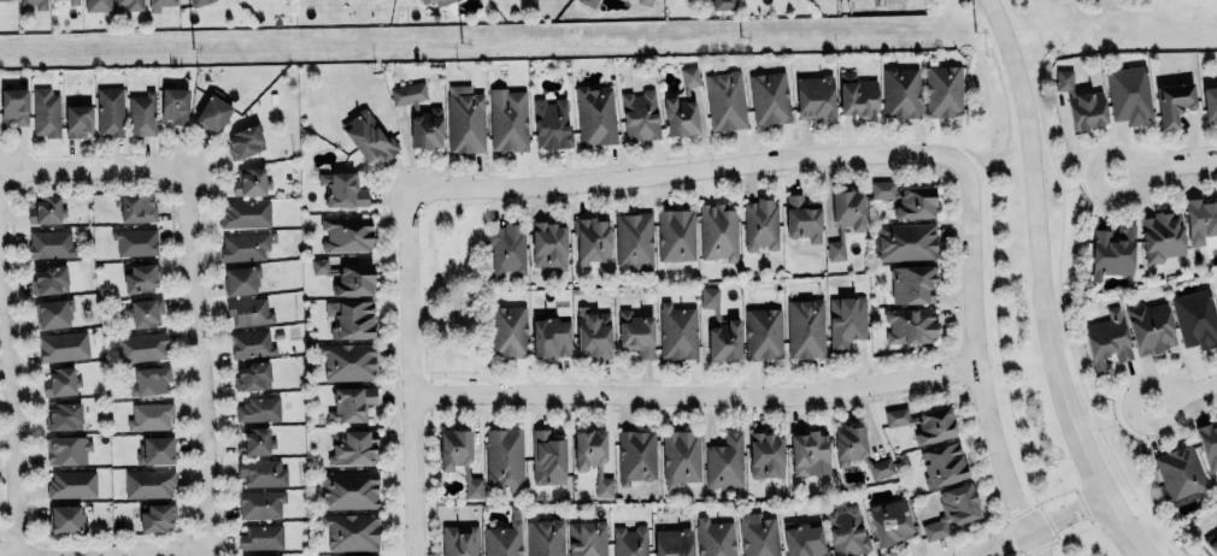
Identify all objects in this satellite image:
building: (7, 0)
building: (72, 1)
building: (196, 1)
building: (424, 1)
building: (440, 1)
building: (643, 1)
building: (36, 2)
building: (588, 2)
building: (131, 4)
building: (158, 4)
building: (723, 4)
building: (96, 5)
building: (943, 89)
building: (899, 90)
building: (407, 93)
building: (1129, 93)
building: (815, 95)
building: (857, 95)
building: (770, 96)
building: (725, 99)
building: (1081, 101)
building: (1172, 102)
building: (174, 103)
building: (1210, 103)
building: (13, 105)
building: (683, 105)
building: (43, 111)
building: (110, 111)
building: (141, 113)
building: (212, 113)
building: (640, 114)
building: (595, 116)
building: (465, 118)
building: (77, 119)
building: (507, 119)
building: (551, 123)
building: (427, 128)
building: (368, 136)
building: (245, 141)
road: (998, 152)
road: (1166, 166)
road: (93, 170)
road: (684, 173)
building: (249, 182)
road: (1074, 185)
building: (341, 188)
building: (906, 197)
building: (135, 207)
building: (46, 209)
building: (245, 213)
building: (802, 218)
building: (845, 218)
building: (1200, 219)
building: (760, 223)
building: (718, 231)
building: (346, 233)
building: (676, 233)
building: (1160, 236)
building: (592, 238)
building: (634, 239)
building: (135, 241)
building: (906, 241)
building: (51, 243)
building: (243, 246)
building: (548, 246)
building: (506, 248)
building: (1112, 250)
building: (141, 277)
building: (346, 277)
building: (48, 279)
building: (240, 279)
building: (910, 282)
road: (1037, 284)
building: (248, 310)
building: (53, 312)
building: (143, 312)
building: (349, 318)
building: (1194, 318)
building: (847, 320)
building: (910, 324)
building: (721, 327)
building: (804, 327)
building: (1150, 327)
building: (508, 331)
building: (677, 331)
building: (593, 332)
building: (635, 332)
building: (763, 333)
building: (551, 337)
building: (1106, 339)
building: (251, 343)
building: (63, 345)
building: (142, 345)
building: (347, 361)
road: (205, 362)
road: (980, 362)
road: (411, 373)
building: (251, 375)
building: (149, 380)
building: (60, 381)
road: (696, 392)
road: (1184, 394)
building: (351, 403)
building: (258, 409)
road: (16, 412)
building: (63, 415)
building: (149, 415)
building: (924, 422)
road: (1115, 424)
building: (254, 440)
building: (1207, 444)
building: (352, 446)
building: (66, 448)
building: (155, 450)
building: (858, 450)
building: (810, 453)
building: (636, 455)
building: (765, 455)
building: (681, 456)
building: (458, 457)
building: (504, 457)
building: (547, 457)
building: (593, 457)
building: (725, 461)
building: (941, 463)
building: (260, 472)
building: (1180, 472)
building: (148, 483)
building: (70, 484)
building: (349, 489)
building: (259, 502)
building: (952, 509)
building: (157, 516)
building: (66, 519)
building: (889, 521)
road: (1035, 527)
building: (845, 530)
building: (352, 531)
building: (758, 534)
building: (543, 536)
building: (260, 537)
building: (715, 537)
building: (588, 538)
building: (802, 538)
building: (502, 539)
building: (459, 540)
building: (630, 540)
building: (672, 543)
building: (1212, 545)
road: (4, 555)
building: (264, 555)

